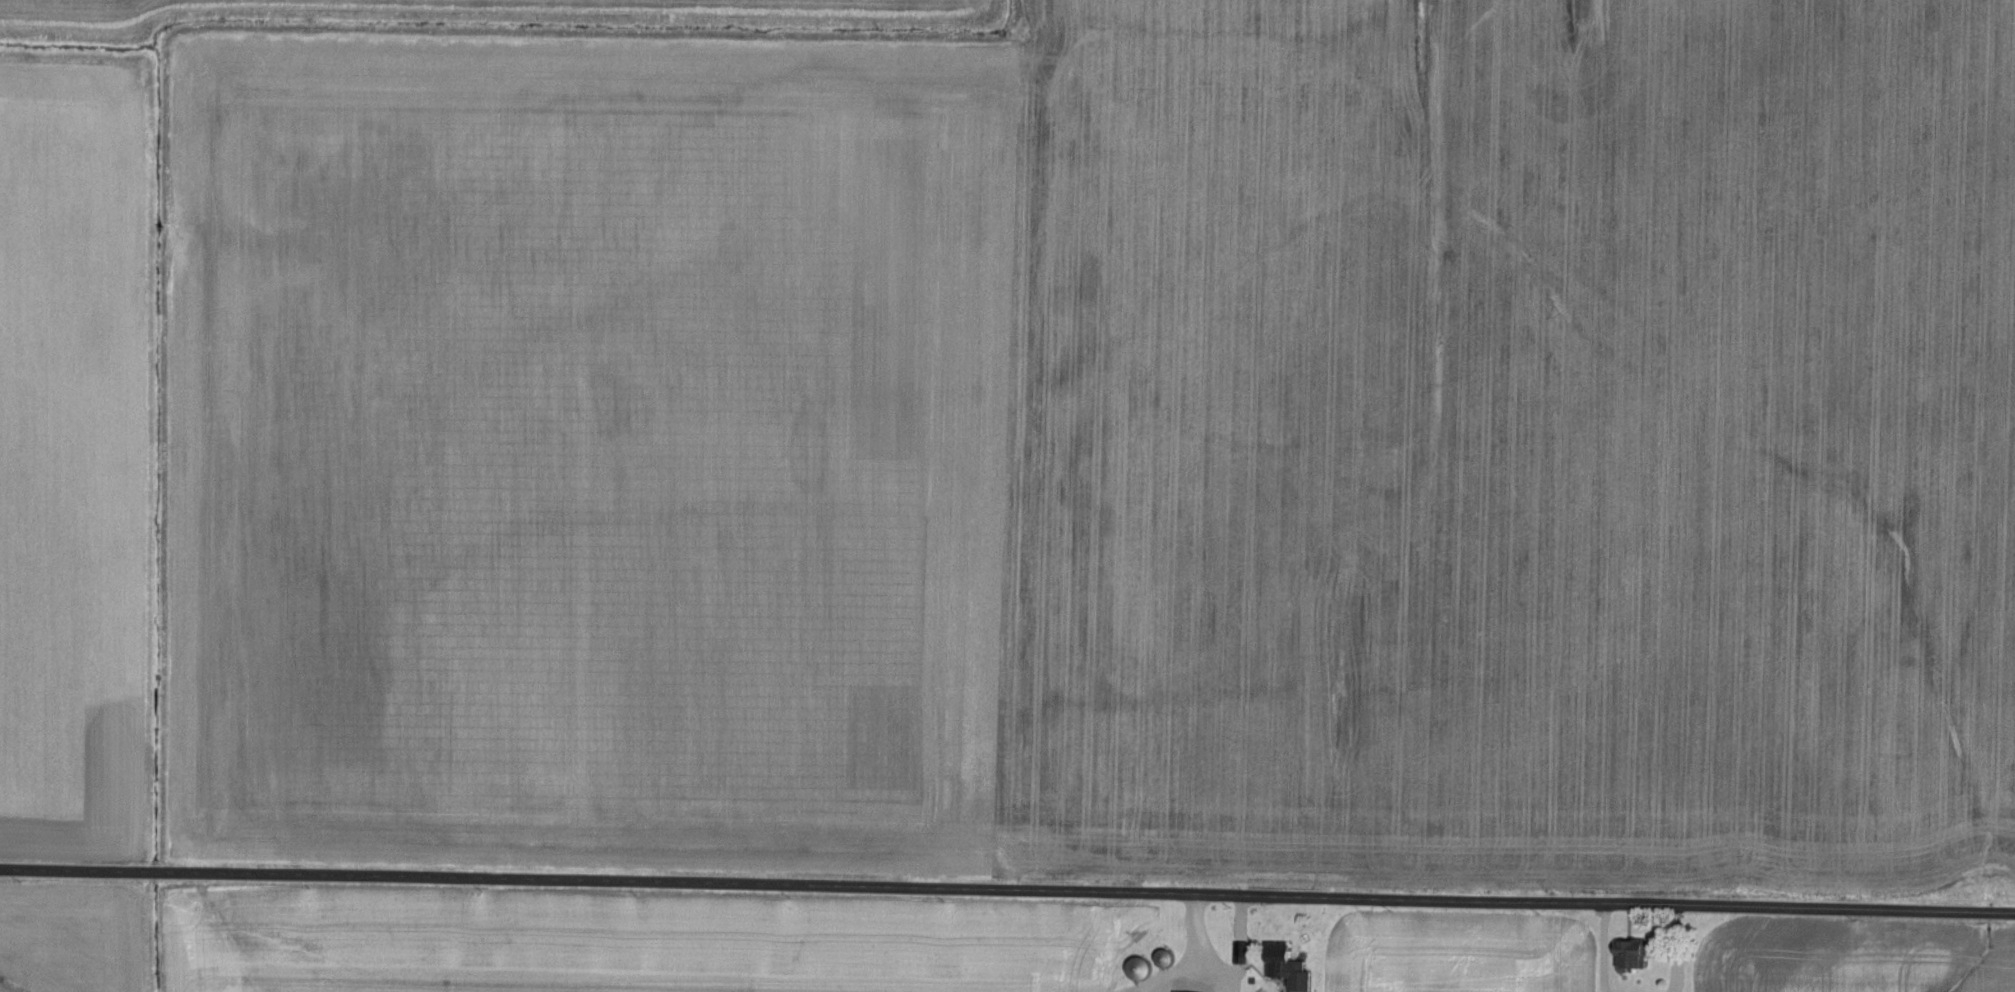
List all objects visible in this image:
road: (1007, 887)
building: (1635, 956)
building: (1291, 968)
building: (1141, 969)

